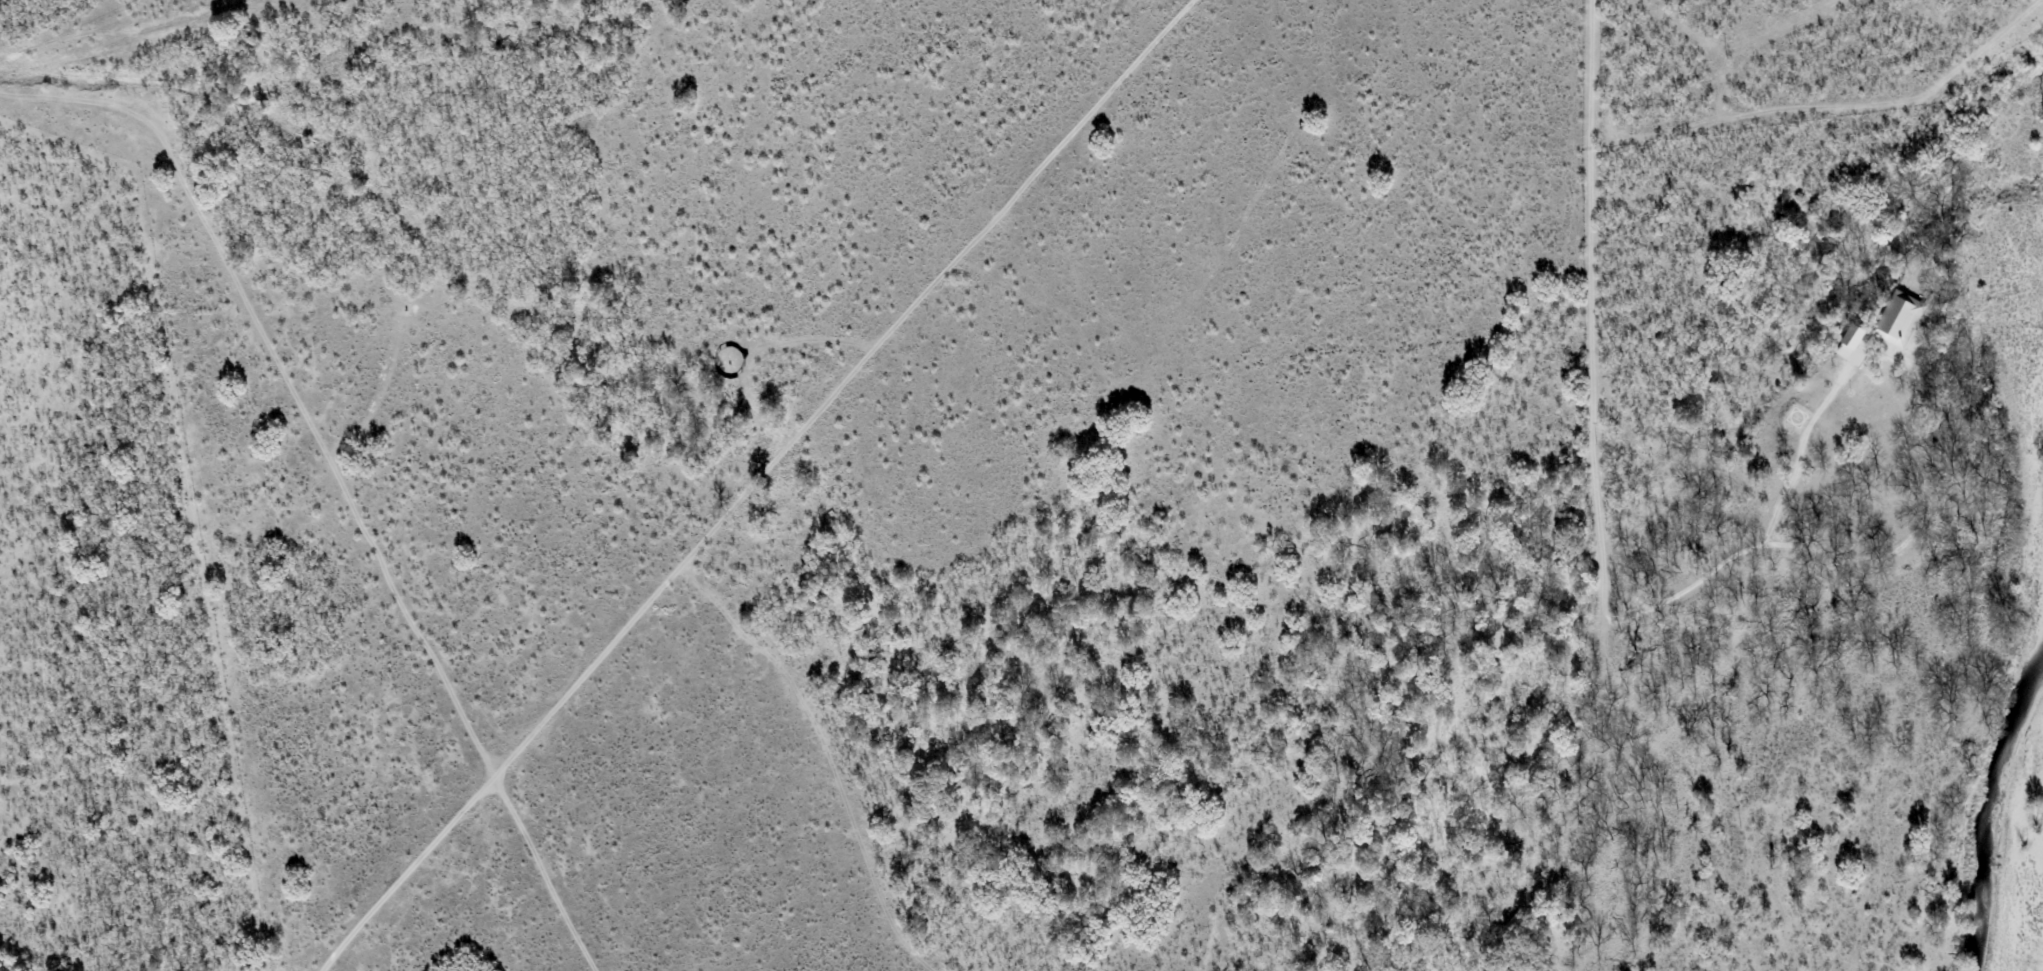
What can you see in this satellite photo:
building: (1898, 319)
building: (1848, 335)
river: (1997, 799)

